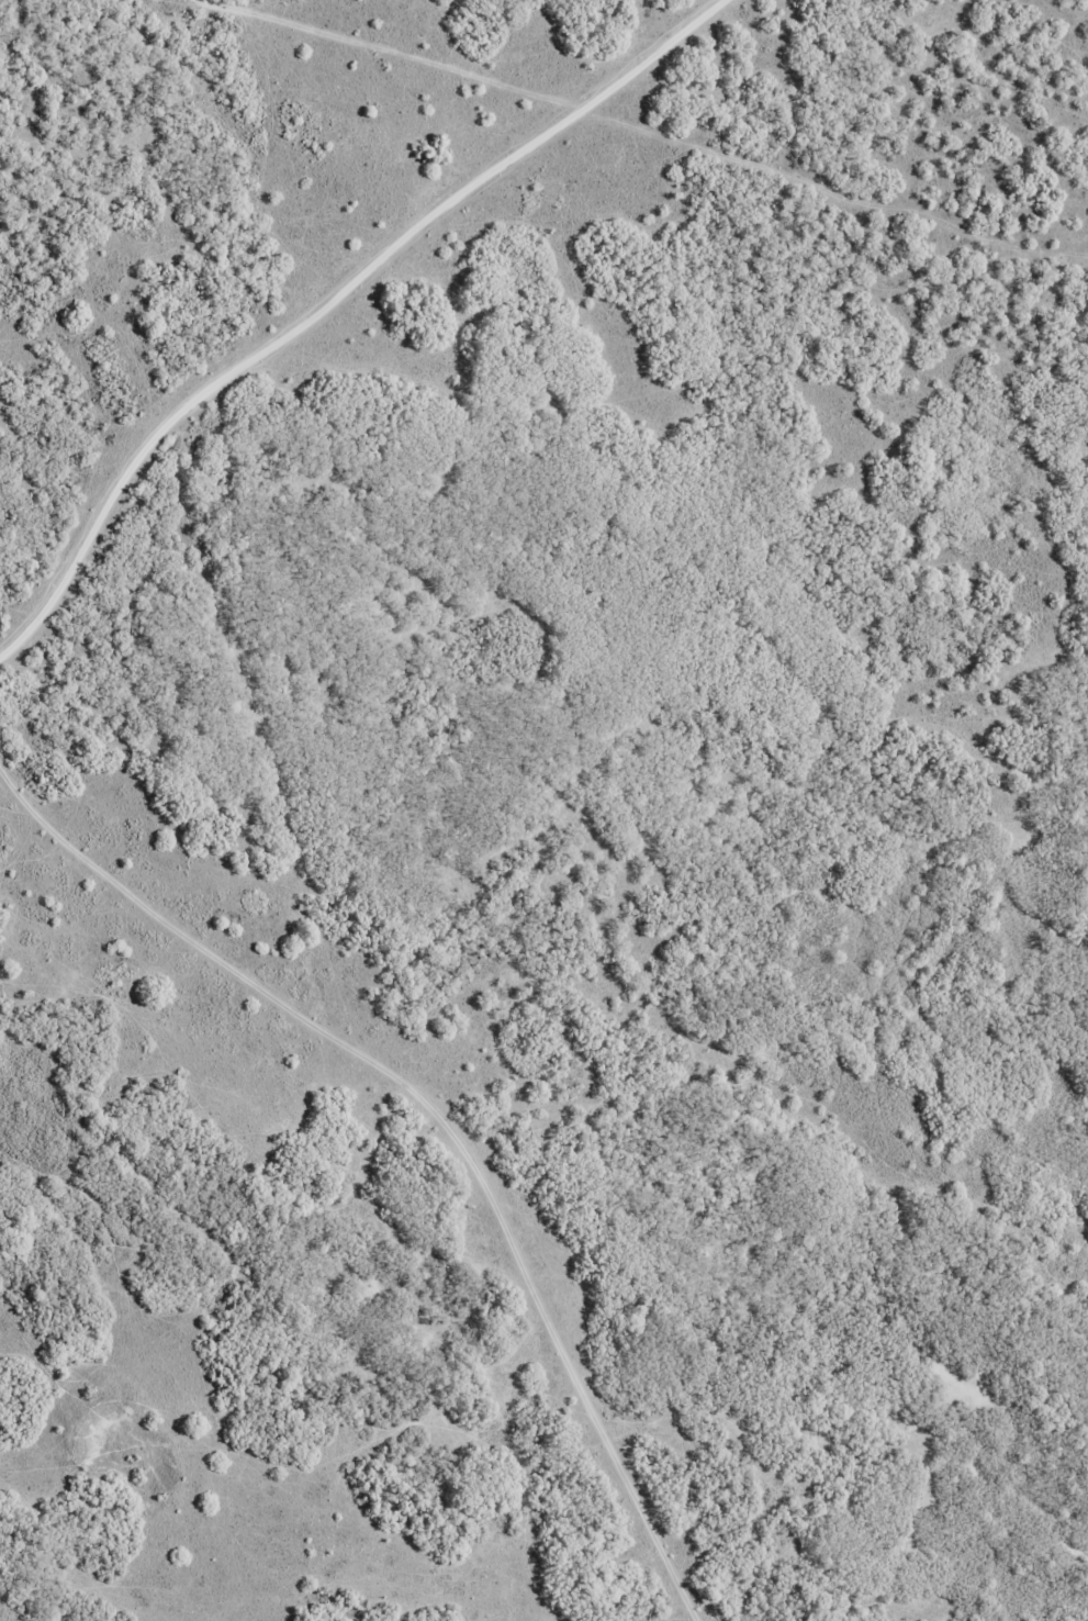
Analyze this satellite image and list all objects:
road: (344, 294)
road: (225, 572)

